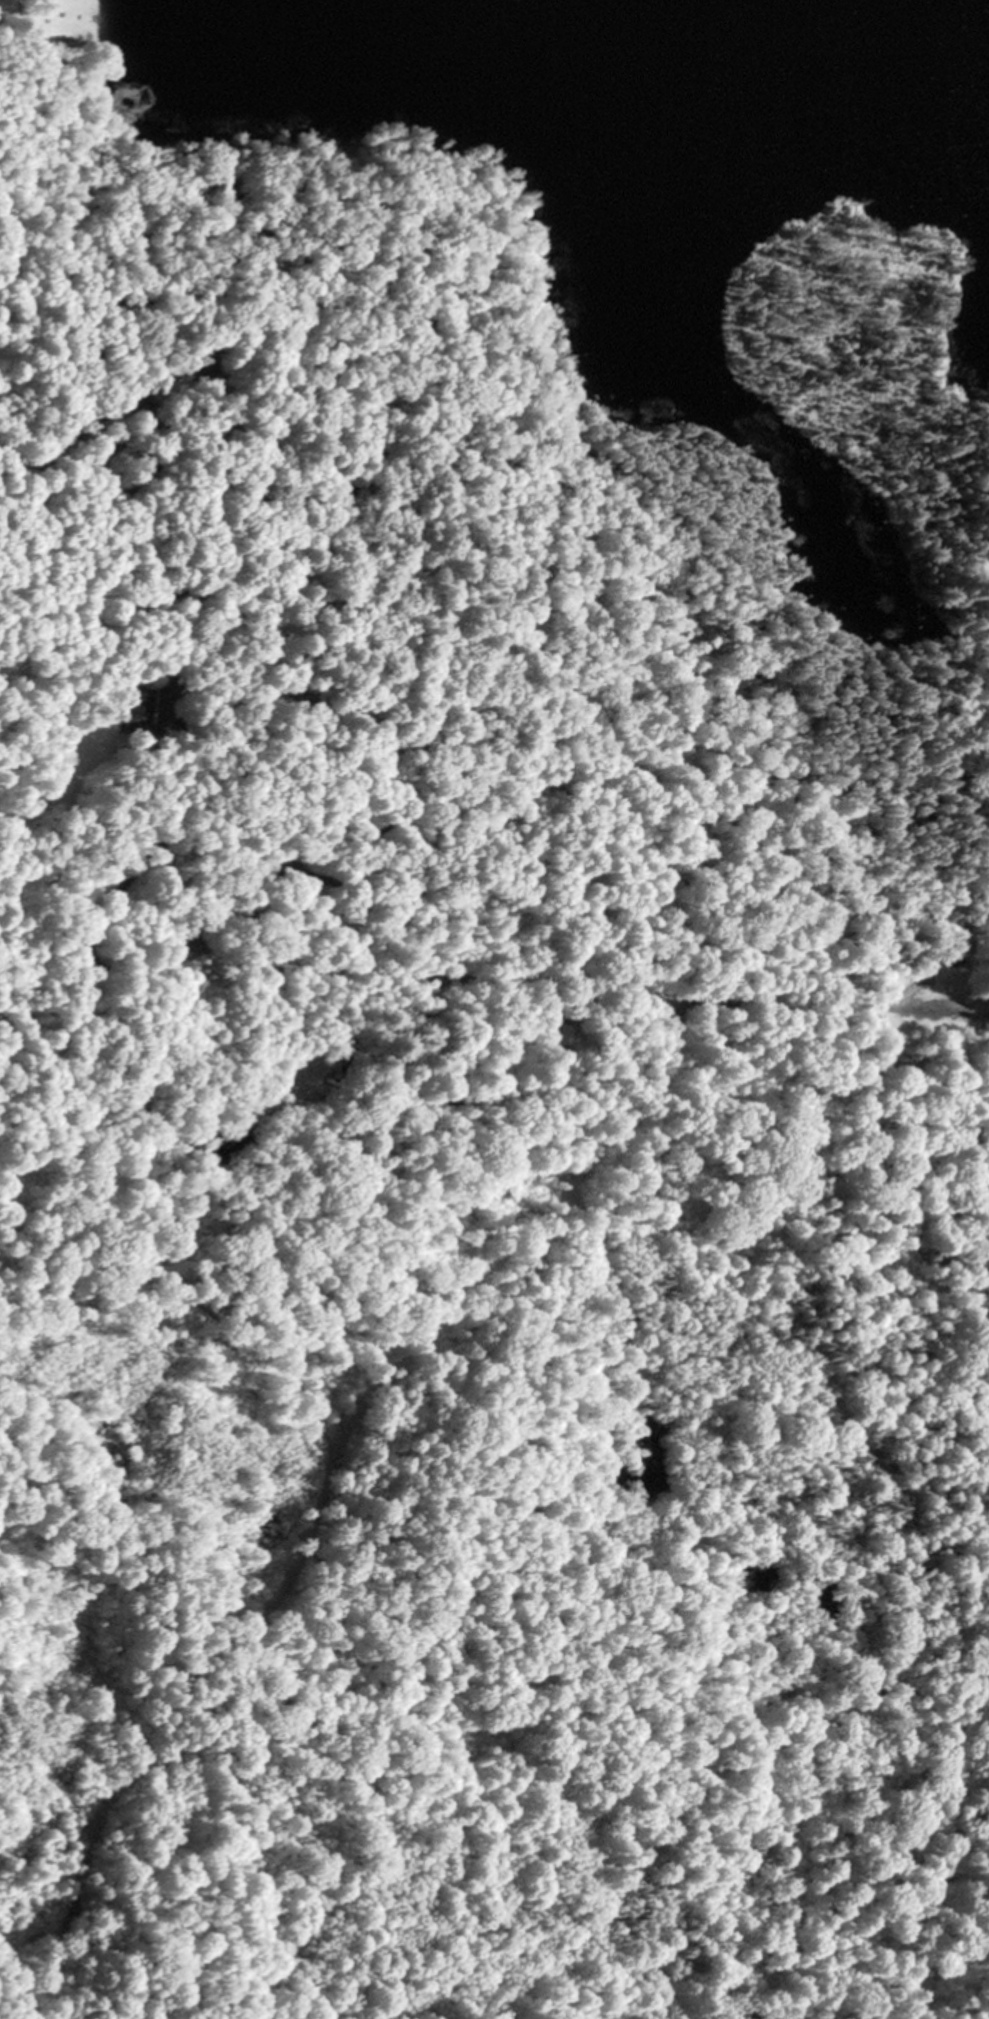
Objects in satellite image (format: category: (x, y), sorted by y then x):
park: (447, 571)
building: (136, 705)
road: (945, 952)
road: (259, 956)
road: (912, 1076)
road: (319, 1466)

